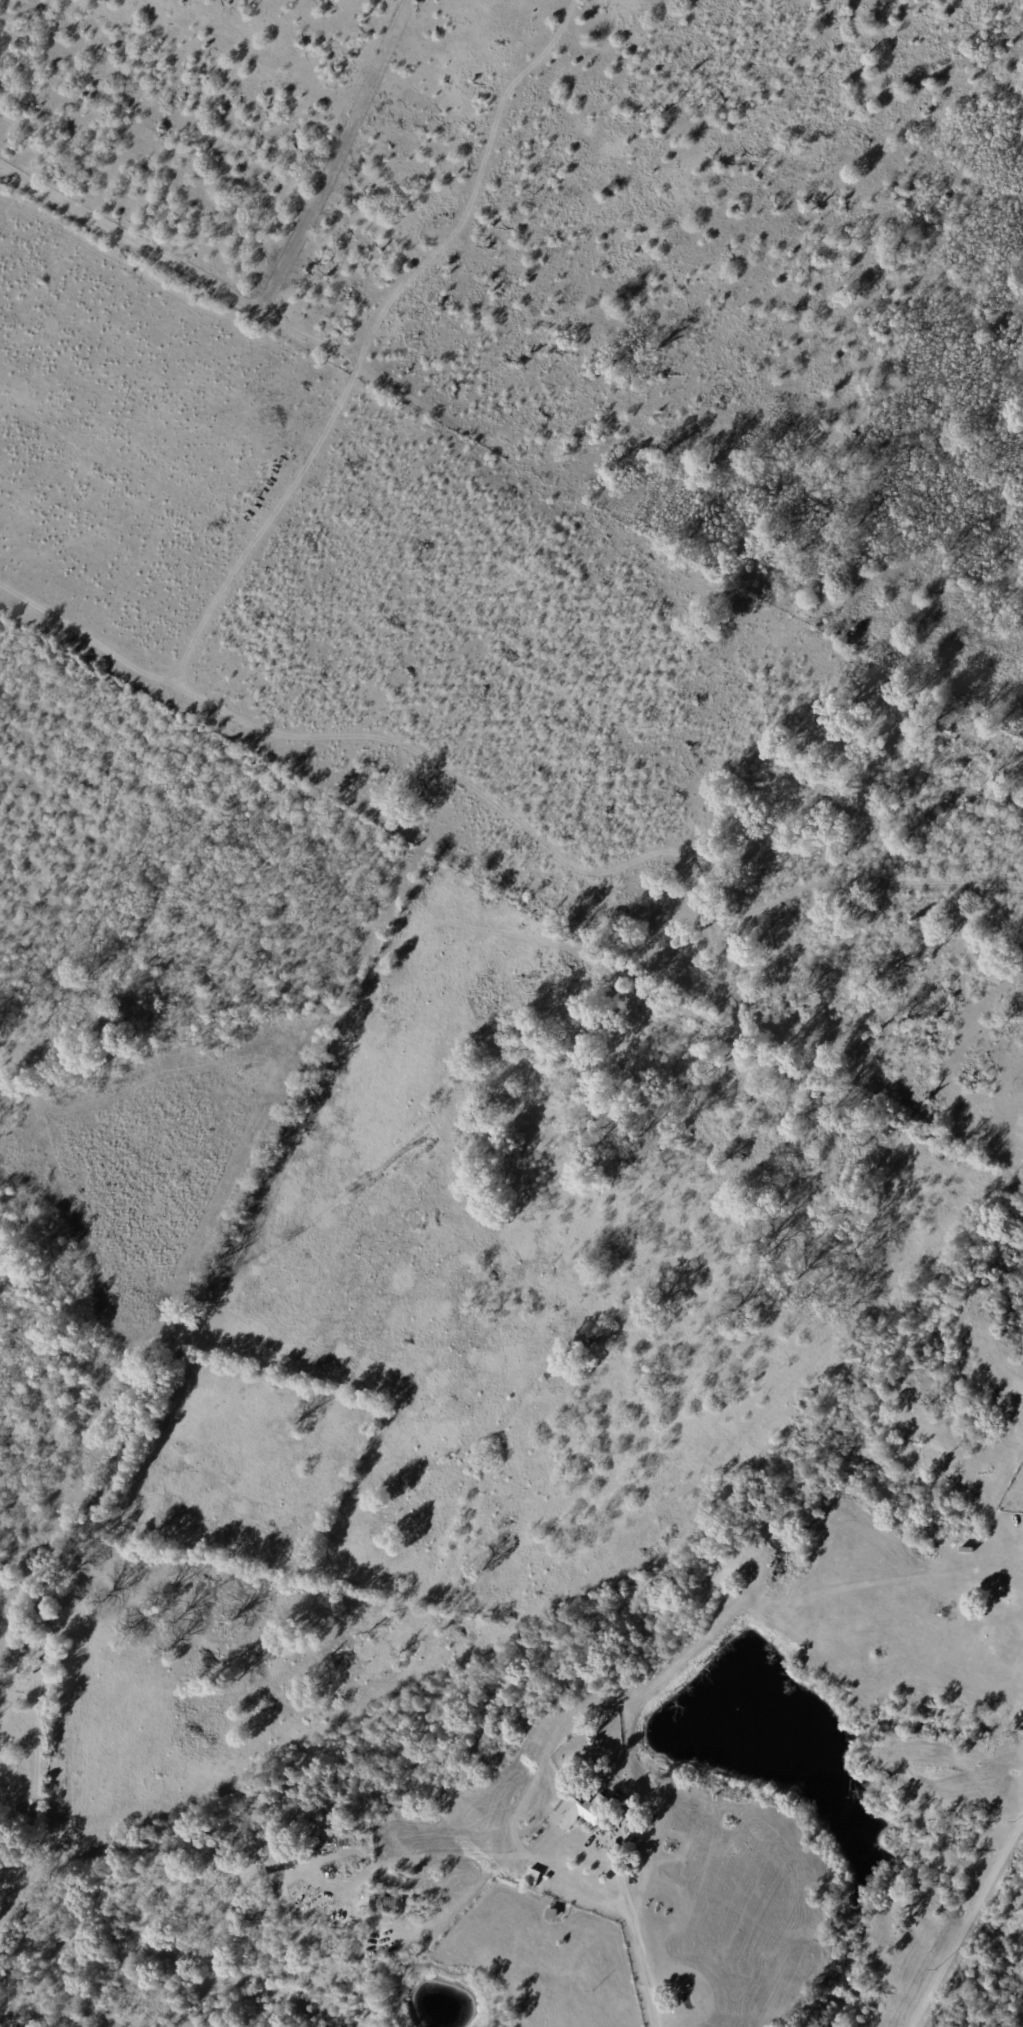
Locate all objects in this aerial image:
building: (45, 1616)
building: (32, 1653)
building: (580, 1811)
building: (530, 1846)
building: (522, 1870)
building: (536, 1877)
building: (388, 1902)
building: (554, 1915)
road: (966, 1922)
road: (638, 1936)

